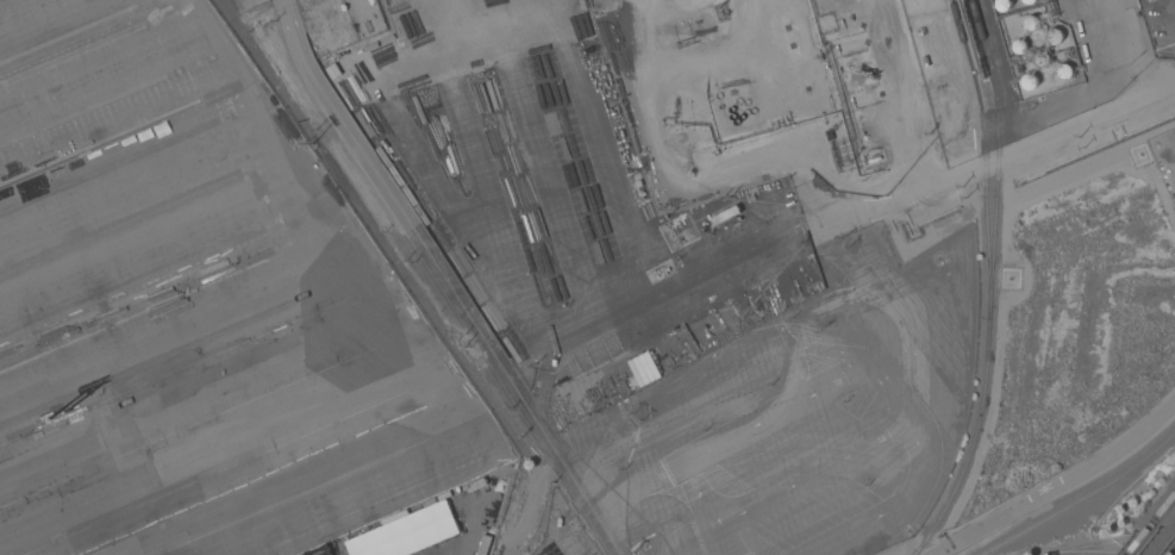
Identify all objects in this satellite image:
building: (975, 18)
building: (1031, 24)
building: (1054, 36)
road: (440, 37)
building: (986, 54)
building: (1042, 60)
building: (1063, 70)
petroleum well: (864, 74)
building: (1029, 81)
road: (1015, 156)
railway: (987, 157)
railway: (1000, 157)
road: (686, 186)
road: (444, 280)
road: (654, 297)
railway: (974, 443)
road: (1063, 485)
railway: (1083, 500)
railway: (1163, 511)
railway: (1162, 540)
railway: (1140, 541)
railway: (1174, 553)
road: (1174, 554)

